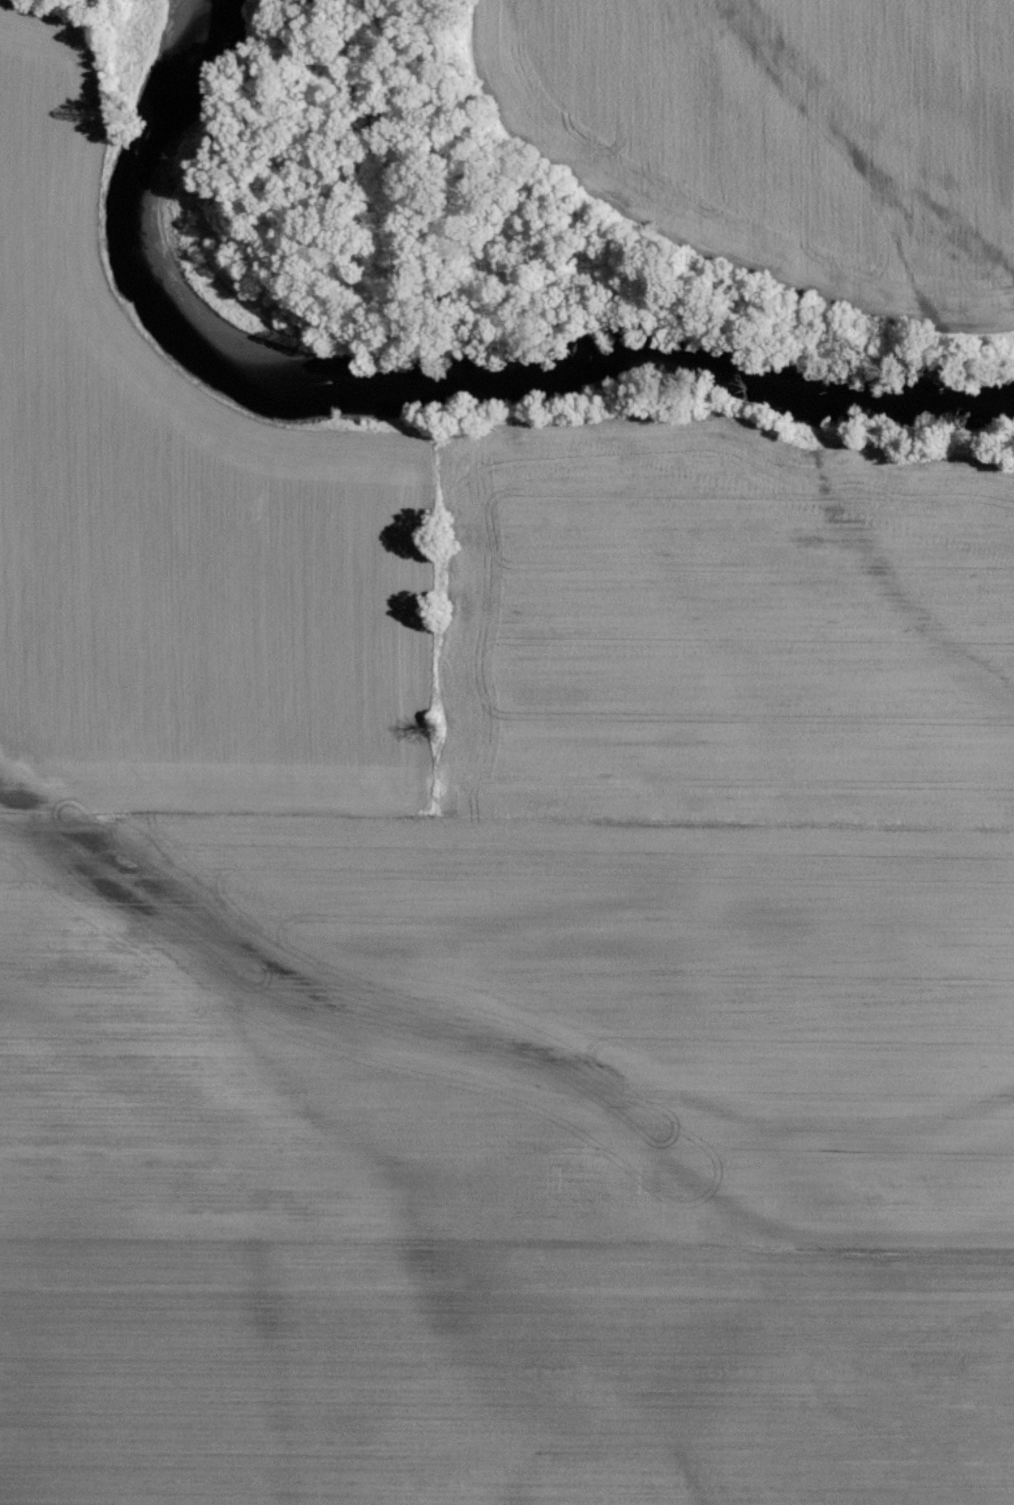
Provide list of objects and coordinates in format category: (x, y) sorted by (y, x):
river: (449, 382)

